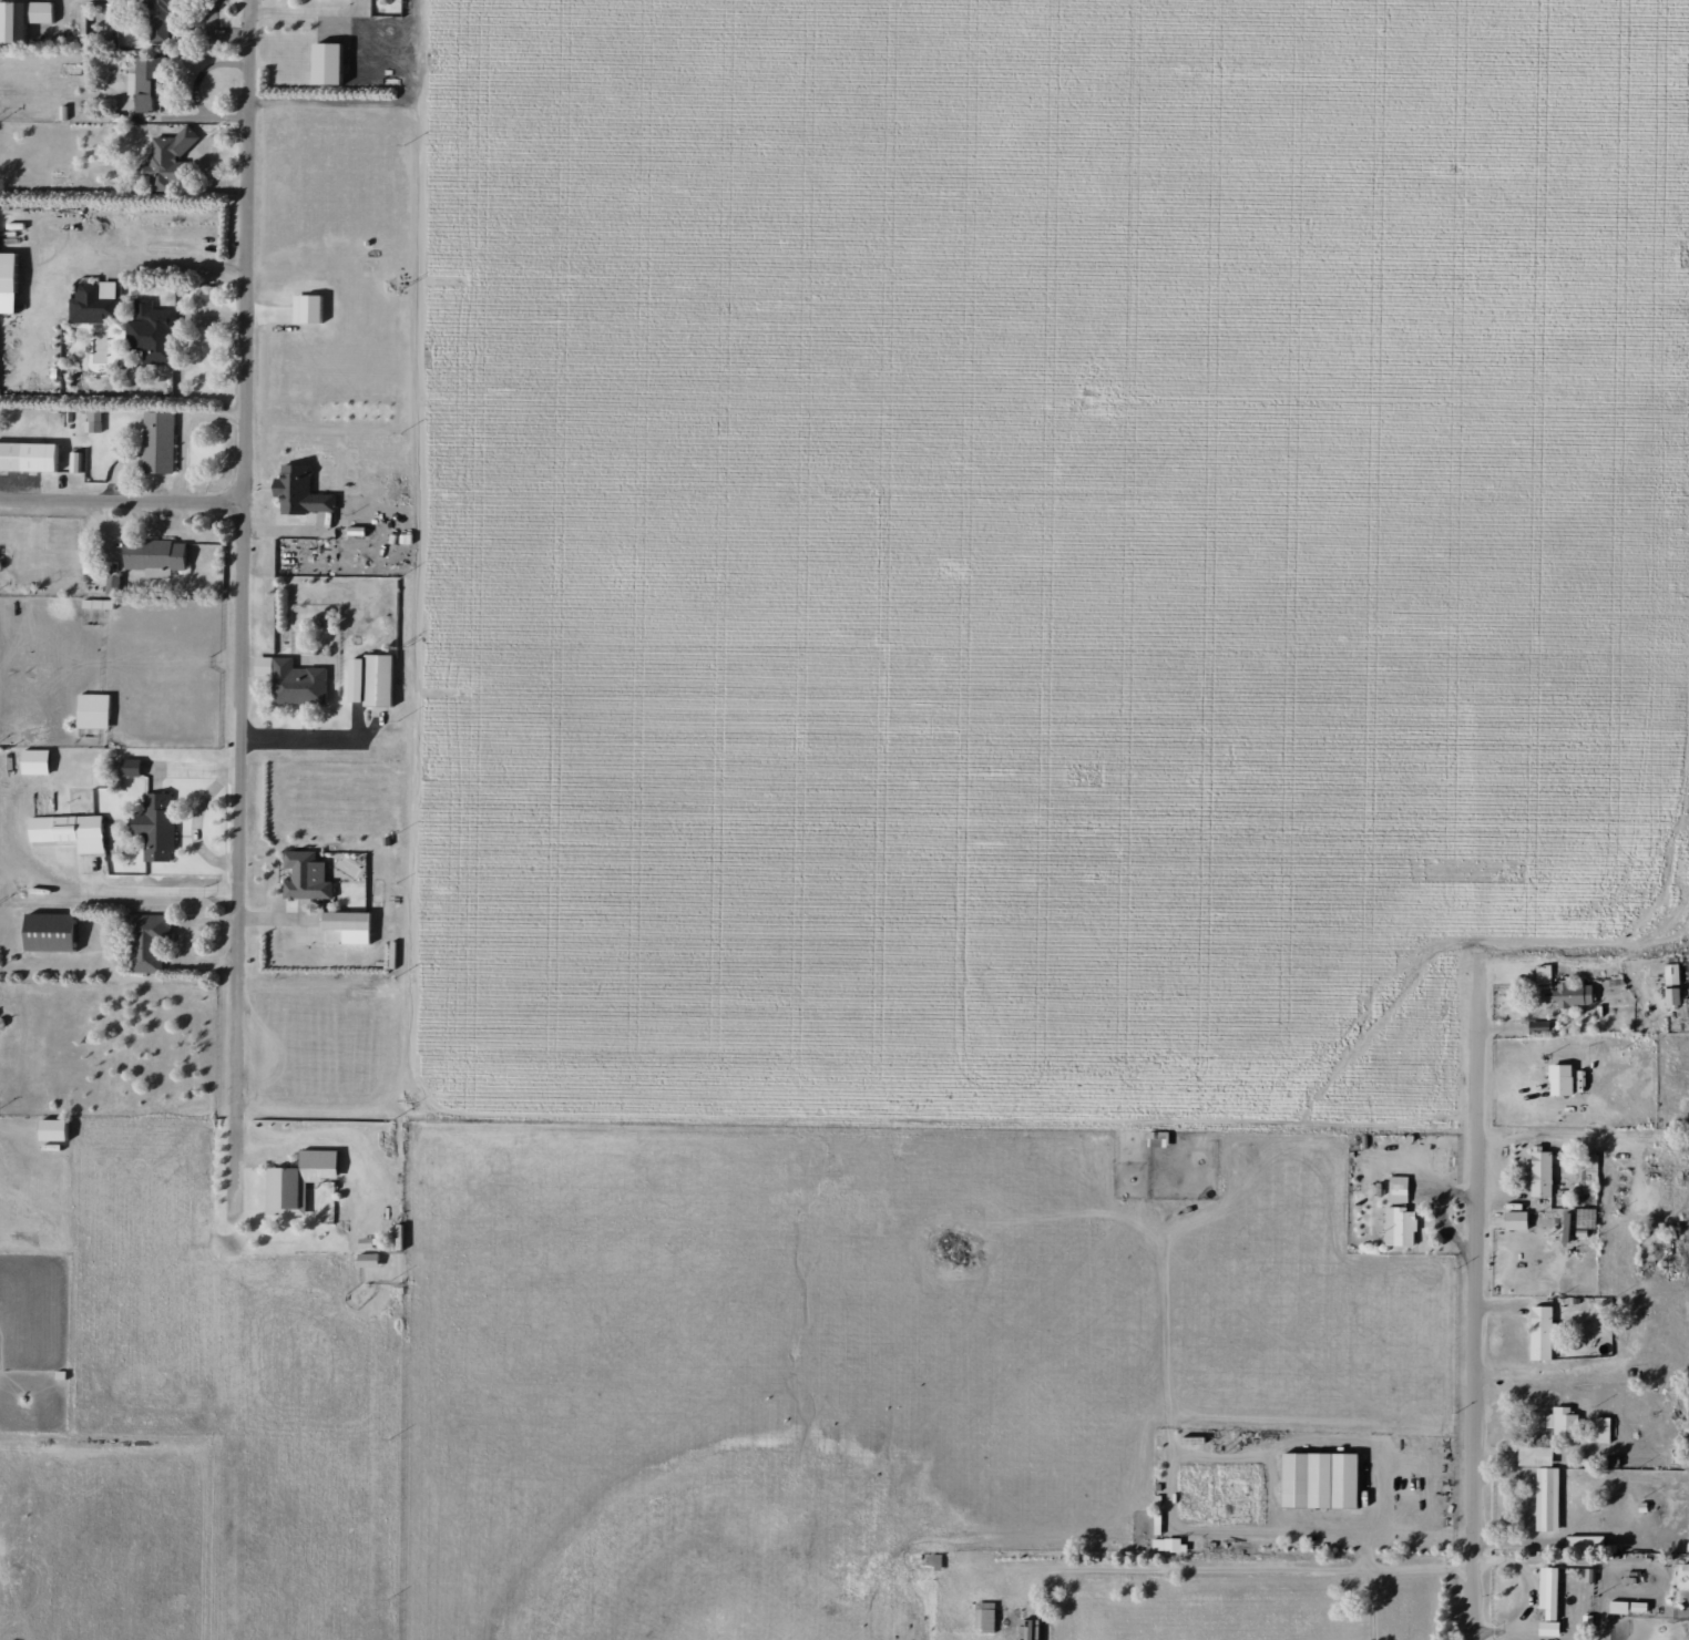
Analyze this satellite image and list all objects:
building: (21, 18)
building: (95, 19)
building: (158, 19)
building: (327, 63)
building: (144, 82)
building: (166, 158)
building: (8, 283)
building: (93, 303)
building: (306, 308)
building: (152, 332)
building: (93, 420)
building: (157, 442)
building: (29, 457)
building: (300, 492)
road: (124, 503)
building: (154, 554)
road: (249, 557)
building: (293, 680)
building: (355, 680)
building: (378, 680)
building: (93, 711)
building: (34, 762)
building: (130, 767)
road: (234, 820)
building: (156, 827)
building: (69, 831)
building: (306, 877)
building: (346, 927)
building: (48, 933)
building: (147, 942)
building: (1544, 974)
building: (1672, 983)
building: (1573, 994)
road: (1498, 1118)
road: (8, 1127)
building: (59, 1129)
building: (1158, 1138)
building: (1540, 1173)
building: (297, 1180)
building: (1399, 1189)
building: (1586, 1218)
building: (1515, 1220)
building: (1400, 1227)
building: (367, 1260)
building: (1540, 1332)
building: (1563, 1422)
building: (1603, 1428)
building: (1320, 1479)
building: (1546, 1498)
building: (1168, 1544)
building: (1548, 1591)
building: (1618, 1606)
building: (984, 1616)
building: (1548, 1628)
building: (1030, 1629)

